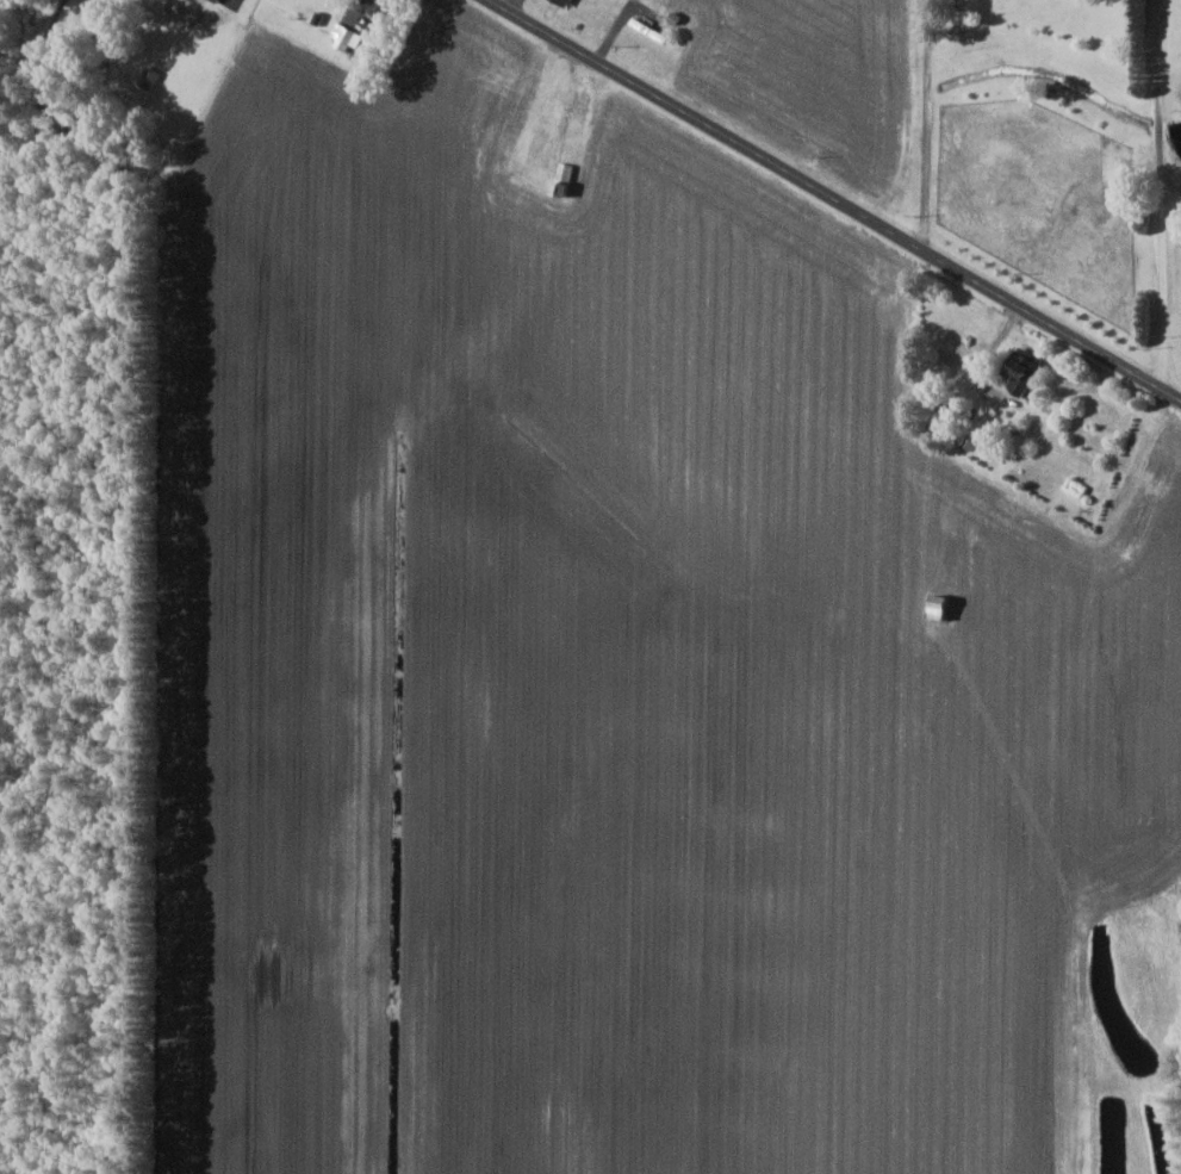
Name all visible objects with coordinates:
building: (217, 0)
building: (567, 1)
building: (385, 7)
building: (346, 37)
road: (926, 120)
road: (1161, 192)
road: (845, 197)
building: (1026, 371)
building: (943, 607)

